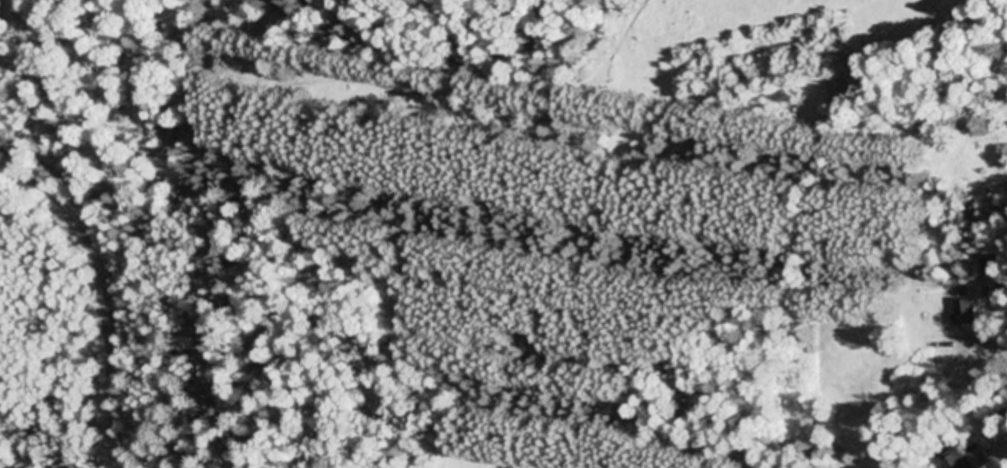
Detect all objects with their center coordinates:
road: (937, 416)
building: (955, 463)

